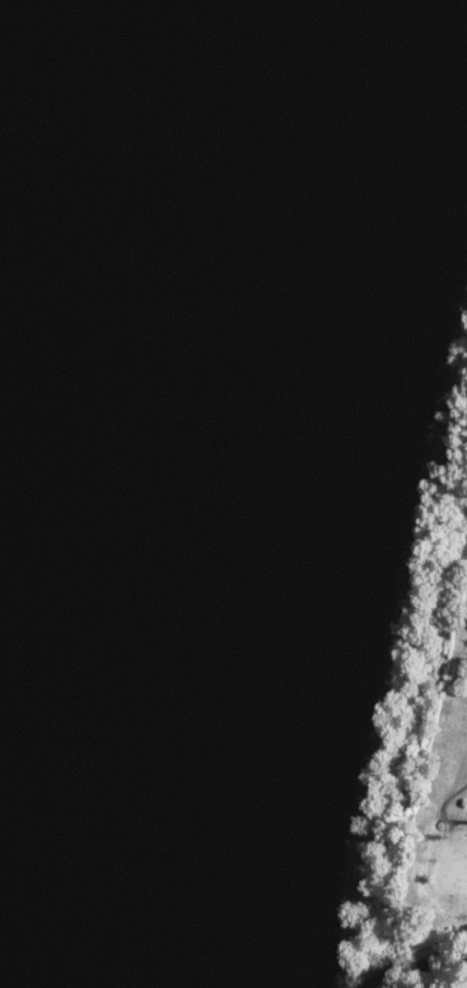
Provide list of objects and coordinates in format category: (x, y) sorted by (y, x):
river: (63, 335)
park: (434, 723)
road: (438, 806)

